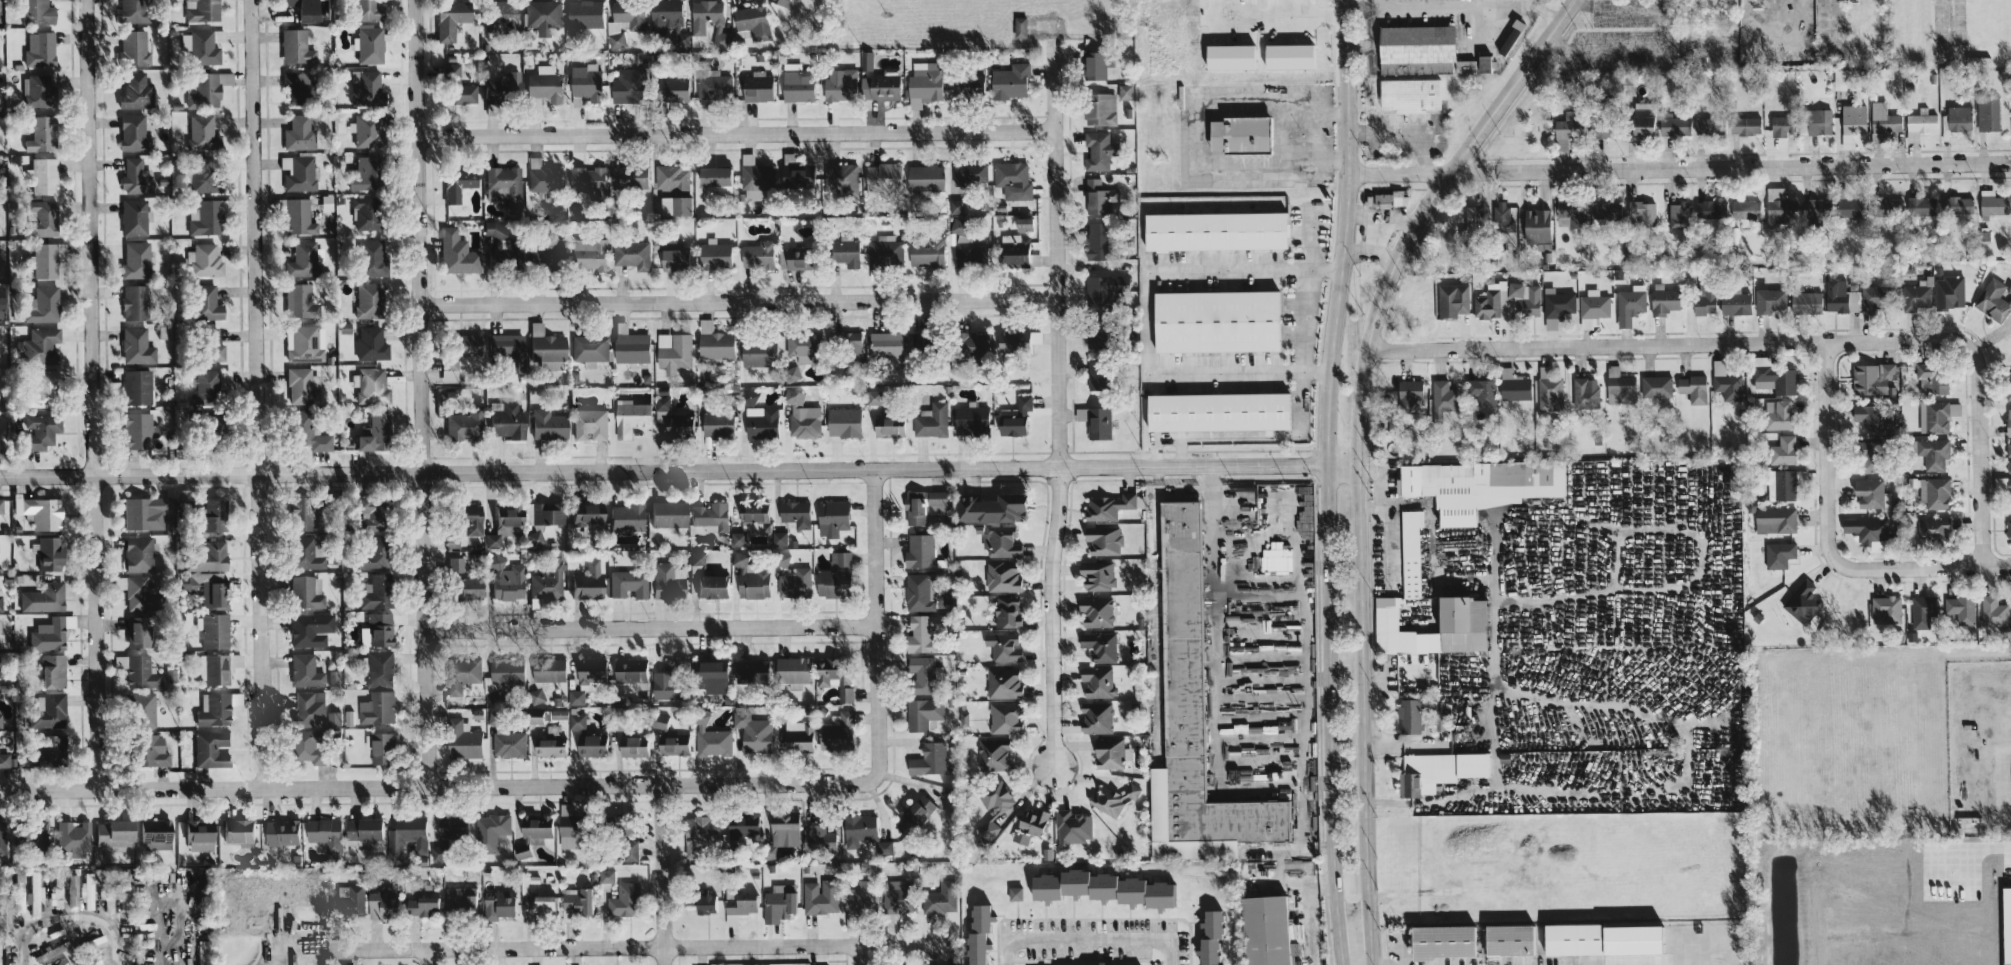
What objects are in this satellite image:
building: (781, 2)
road: (1446, 5)
building: (304, 9)
building: (201, 10)
building: (131, 11)
building: (34, 12)
building: (542, 13)
building: (584, 13)
road: (1542, 13)
building: (498, 15)
road: (1952, 16)
building: (448, 18)
road: (1285, 18)
building: (708, 19)
building: (667, 20)
building: (624, 21)
building: (751, 22)
building: (1019, 26)
building: (1415, 43)
building: (368, 44)
building: (294, 46)
building: (200, 47)
building: (38, 48)
building: (131, 48)
building: (865, 60)
building: (1483, 63)
building: (1094, 64)
building: (1464, 66)
building: (1387, 67)
building: (584, 79)
building: (1009, 81)
building: (795, 83)
building: (923, 83)
building: (626, 84)
building: (967, 84)
building: (540, 85)
building: (712, 85)
building: (839, 85)
building: (456, 86)
building: (878, 86)
building: (296, 87)
building: (364, 88)
building: (671, 88)
building: (205, 89)
building: (1124, 91)
building: (134, 92)
building: (1409, 94)
building: (1099, 108)
building: (1987, 112)
building: (1852, 117)
building: (1958, 117)
building: (1883, 118)
building: (1818, 121)
building: (1919, 123)
building: (1568, 124)
building: (1641, 125)
building: (1674, 125)
building: (1707, 125)
building: (1744, 125)
building: (1782, 125)
building: (1600, 127)
building: (363, 131)
road: (737, 132)
building: (132, 133)
building: (200, 133)
building: (298, 133)
building: (38, 134)
building: (1238, 134)
road: (1206, 137)
road: (1288, 137)
building: (1098, 149)
road: (1680, 167)
building: (297, 172)
building: (969, 172)
building: (361, 174)
building: (796, 174)
building: (44, 175)
building: (628, 175)
building: (882, 175)
building: (134, 177)
building: (755, 177)
building: (840, 177)
building: (924, 177)
building: (542, 178)
building: (713, 178)
building: (1011, 180)
building: (200, 181)
building: (587, 181)
building: (502, 184)
building: (457, 185)
building: (680, 192)
building: (1098, 196)
building: (1388, 198)
building: (1992, 202)
building: (1957, 204)
building: (1890, 205)
building: (1921, 205)
building: (955, 206)
building: (1848, 206)
building: (1570, 208)
building: (1604, 209)
building: (1709, 209)
building: (1811, 211)
building: (1642, 212)
building: (364, 213)
road: (1423, 214)
building: (1679, 215)
building: (131, 217)
building: (297, 217)
building: (41, 218)
building: (203, 218)
building: (1471, 220)
building: (1502, 220)
building: (1022, 223)
building: (1536, 227)
building: (1214, 230)
building: (1097, 240)
building: (500, 242)
building: (965, 244)
building: (843, 250)
building: (884, 251)
building: (926, 251)
building: (544, 252)
building: (455, 253)
building: (631, 254)
building: (713, 254)
building: (757, 254)
building: (588, 255)
building: (672, 255)
building: (369, 257)
building: (794, 258)
building: (43, 260)
building: (134, 260)
building: (203, 260)
building: (1104, 290)
building: (1948, 291)
building: (1916, 294)
building: (1704, 297)
building: (1839, 297)
building: (1871, 298)
building: (297, 299)
road: (741, 299)
building: (1452, 299)
building: (1662, 299)
building: (1992, 299)
building: (368, 300)
building: (1507, 300)
building: (1733, 300)
building: (1769, 300)
building: (132, 301)
building: (1805, 301)
building: (0, 302)
building: (204, 302)
building: (1629, 303)
building: (41, 305)
building: (1555, 305)
building: (1592, 308)
road: (1149, 315)
building: (1215, 320)
road: (1301, 320)
building: (344, 327)
building: (1016, 339)
building: (714, 342)
building: (369, 343)
building: (504, 343)
building: (884, 343)
building: (973, 344)
road: (1673, 344)
building: (209, 345)
building: (303, 345)
building: (40, 346)
building: (135, 346)
building: (631, 346)
building: (848, 346)
building: (546, 347)
building: (800, 347)
building: (589, 349)
building: (673, 351)
building: (758, 351)
building: (791, 373)
building: (1095, 375)
building: (1871, 377)
building: (1931, 377)
building: (1777, 378)
building: (1723, 380)
building: (2008, 384)
building: (369, 385)
building: (301, 386)
building: (1513, 386)
building: (1619, 386)
building: (1655, 386)
building: (135, 387)
building: (207, 387)
building: (1692, 388)
building: (41, 389)
building: (1549, 390)
road: (425, 392)
building: (1584, 392)
building: (1408, 393)
road: (258, 394)
road: (90, 395)
building: (1482, 395)
building: (872, 396)
building: (749, 397)
building: (1442, 399)
building: (1022, 405)
road: (1058, 407)
building: (1217, 411)
building: (1777, 414)
building: (802, 415)
building: (1868, 415)
building: (1933, 416)
building: (629, 417)
building: (932, 419)
building: (505, 420)
building: (970, 420)
building: (843, 421)
building: (1095, 421)
building: (2008, 421)
building: (760, 422)
building: (463, 424)
building: (546, 424)
building: (589, 424)
building: (717, 424)
building: (887, 425)
building: (1011, 426)
building: (677, 427)
building: (38, 431)
building: (135, 431)
building: (304, 432)
building: (373, 433)
road: (1245, 435)
building: (1782, 450)
road: (1181, 451)
road: (1824, 452)
building: (1933, 453)
building: (1868, 455)
building: (2008, 456)
road: (1982, 457)
road: (679, 470)
road: (1324, 482)
building: (1482, 482)
building: (1780, 484)
building: (1868, 492)
building: (1934, 492)
road: (1259, 495)
building: (923, 505)
building: (0, 506)
building: (1108, 506)
building: (989, 508)
building: (38, 511)
building: (144, 512)
building: (299, 513)
building: (367, 513)
building: (544, 513)
building: (794, 513)
building: (666, 514)
building: (586, 515)
building: (213, 516)
building: (710, 516)
building: (625, 517)
building: (831, 517)
building: (1774, 520)
building: (462, 521)
building: (502, 523)
building: (2009, 527)
building: (1868, 528)
building: (1933, 528)
building: (737, 538)
building: (779, 538)
building: (1103, 539)
building: (1000, 541)
building: (919, 551)
building: (1410, 552)
building: (47, 553)
building: (372, 553)
building: (137, 554)
building: (303, 554)
building: (1778, 554)
building: (206, 557)
building: (782, 558)
road: (1922, 567)
building: (1096, 574)
building: (833, 576)
building: (1002, 576)
building: (505, 579)
building: (749, 579)
building: (460, 581)
building: (586, 581)
building: (667, 581)
building: (794, 582)
building: (546, 583)
building: (627, 583)
building: (710, 586)
building: (376, 591)
building: (306, 592)
building: (137, 593)
building: (41, 598)
building: (1802, 602)
building: (0, 606)
building: (1960, 608)
building: (1885, 609)
building: (1006, 610)
building: (1095, 610)
building: (1922, 610)
building: (1993, 611)
building: (1461, 614)
road: (652, 621)
road: (876, 624)
building: (310, 629)
building: (378, 629)
building: (212, 630)
building: (136, 632)
building: (46, 635)
building: (919, 635)
building: (1099, 645)
building: (1002, 646)
road: (1245, 657)
building: (120, 662)
building: (378, 668)
building: (213, 669)
building: (791, 669)
building: (303, 670)
building: (547, 670)
building: (50, 671)
building: (590, 671)
building: (825, 671)
building: (505, 672)
building: (631, 672)
building: (750, 672)
building: (141, 673)
building: (461, 673)
building: (921, 674)
building: (711, 675)
building: (333, 679)
building: (1097, 681)
building: (1002, 682)
road: (1302, 682)
building: (662, 685)
building: (844, 694)
building: (534, 696)
building: (576, 697)
building: (376, 707)
building: (309, 708)
building: (212, 709)
building: (140, 710)
building: (46, 711)
building: (922, 713)
road: (1364, 715)
building: (534, 716)
building: (1409, 716)
building: (1004, 717)
building: (1095, 717)
building: (333, 718)
building: (1192, 718)
building: (576, 720)
building: (658, 720)
road: (1487, 727)
building: (836, 731)
building: (753, 732)
building: (797, 736)
building: (710, 737)
building: (461, 739)
building: (550, 742)
building: (508, 744)
building: (671, 744)
building: (589, 745)
building: (631, 745)
building: (308, 746)
building: (44, 748)
building: (381, 748)
building: (209, 749)
building: (1109, 752)
building: (992, 754)
building: (928, 759)
building: (3, 760)
building: (1438, 770)
road: (436, 784)
building: (1111, 799)
building: (915, 813)
building: (1028, 825)
building: (452, 826)
building: (742, 827)
building: (1072, 827)
building: (568, 828)
building: (858, 828)
building: (361, 829)
building: (236, 831)
building: (489, 831)
building: (280, 832)
building: (111, 833)
building: (152, 833)
building: (324, 833)
building: (529, 833)
building: (781, 833)
building: (33, 835)
building: (196, 836)
building: (405, 836)
building: (1, 837)
building: (73, 838)
building: (817, 838)
building: (883, 847)
building: (629, 850)
road: (1300, 851)
road: (663, 873)
building: (605, 875)
building: (88, 885)
building: (1101, 887)
building: (57, 889)
building: (17, 890)
building: (72, 890)
building: (1014, 892)
building: (34, 893)
building: (820, 896)
building: (860, 896)
building: (897, 896)
building: (939, 897)
building: (458, 898)
building: (622, 899)
building: (348, 900)
building: (574, 900)
building: (777, 901)
building: (381, 902)
building: (702, 902)
building: (497, 903)
building: (420, 905)
building: (538, 905)
building: (737, 906)
road: (2000, 909)
road: (93, 913)
building: (1264, 929)
building: (977, 931)
road: (1090, 937)
building: (1208, 937)
building: (1601, 937)
building: (1508, 938)
building: (1441, 940)
building: (92, 942)
road: (643, 946)
road: (29, 947)
building: (47, 953)
road: (274, 954)
road: (858, 954)
road: (427, 956)
building: (96, 957)
building: (61, 962)
building: (343, 964)
building: (1097, 964)
building: (1112, 964)

